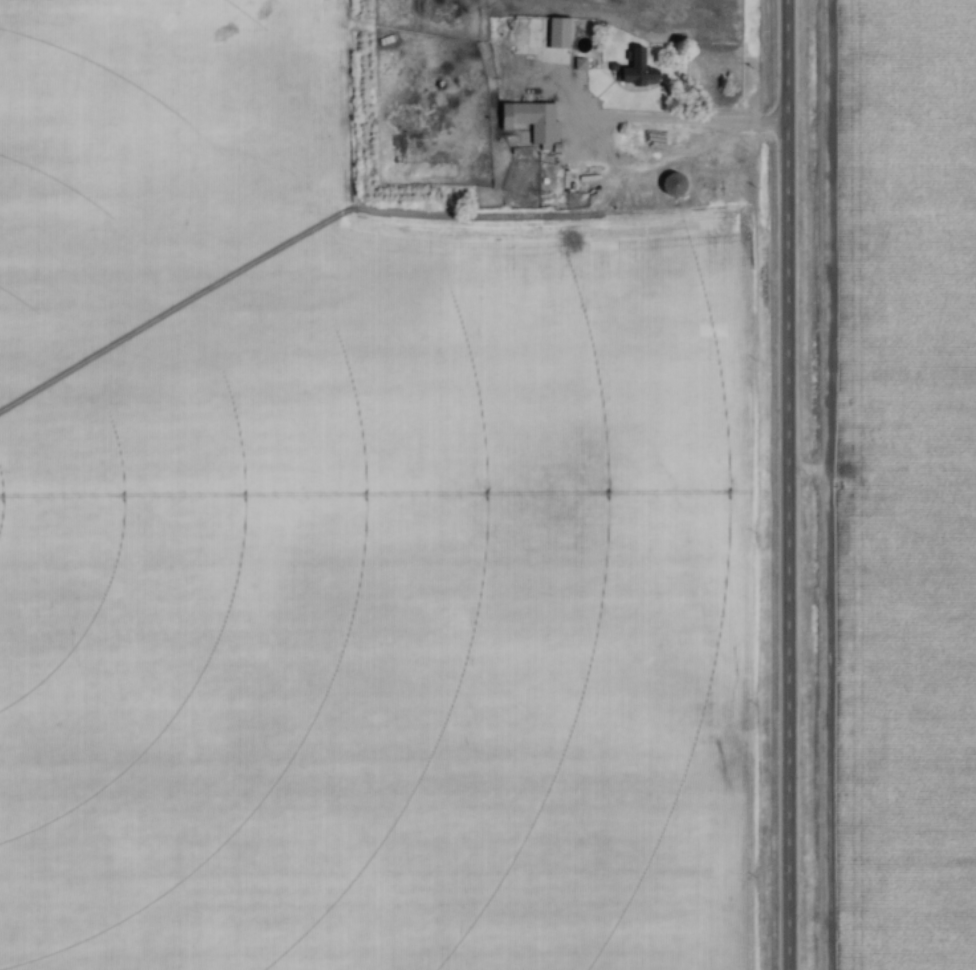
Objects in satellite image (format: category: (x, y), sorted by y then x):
building: (527, 36)
building: (645, 70)
building: (533, 120)
road: (669, 123)
building: (678, 187)
road: (784, 484)

